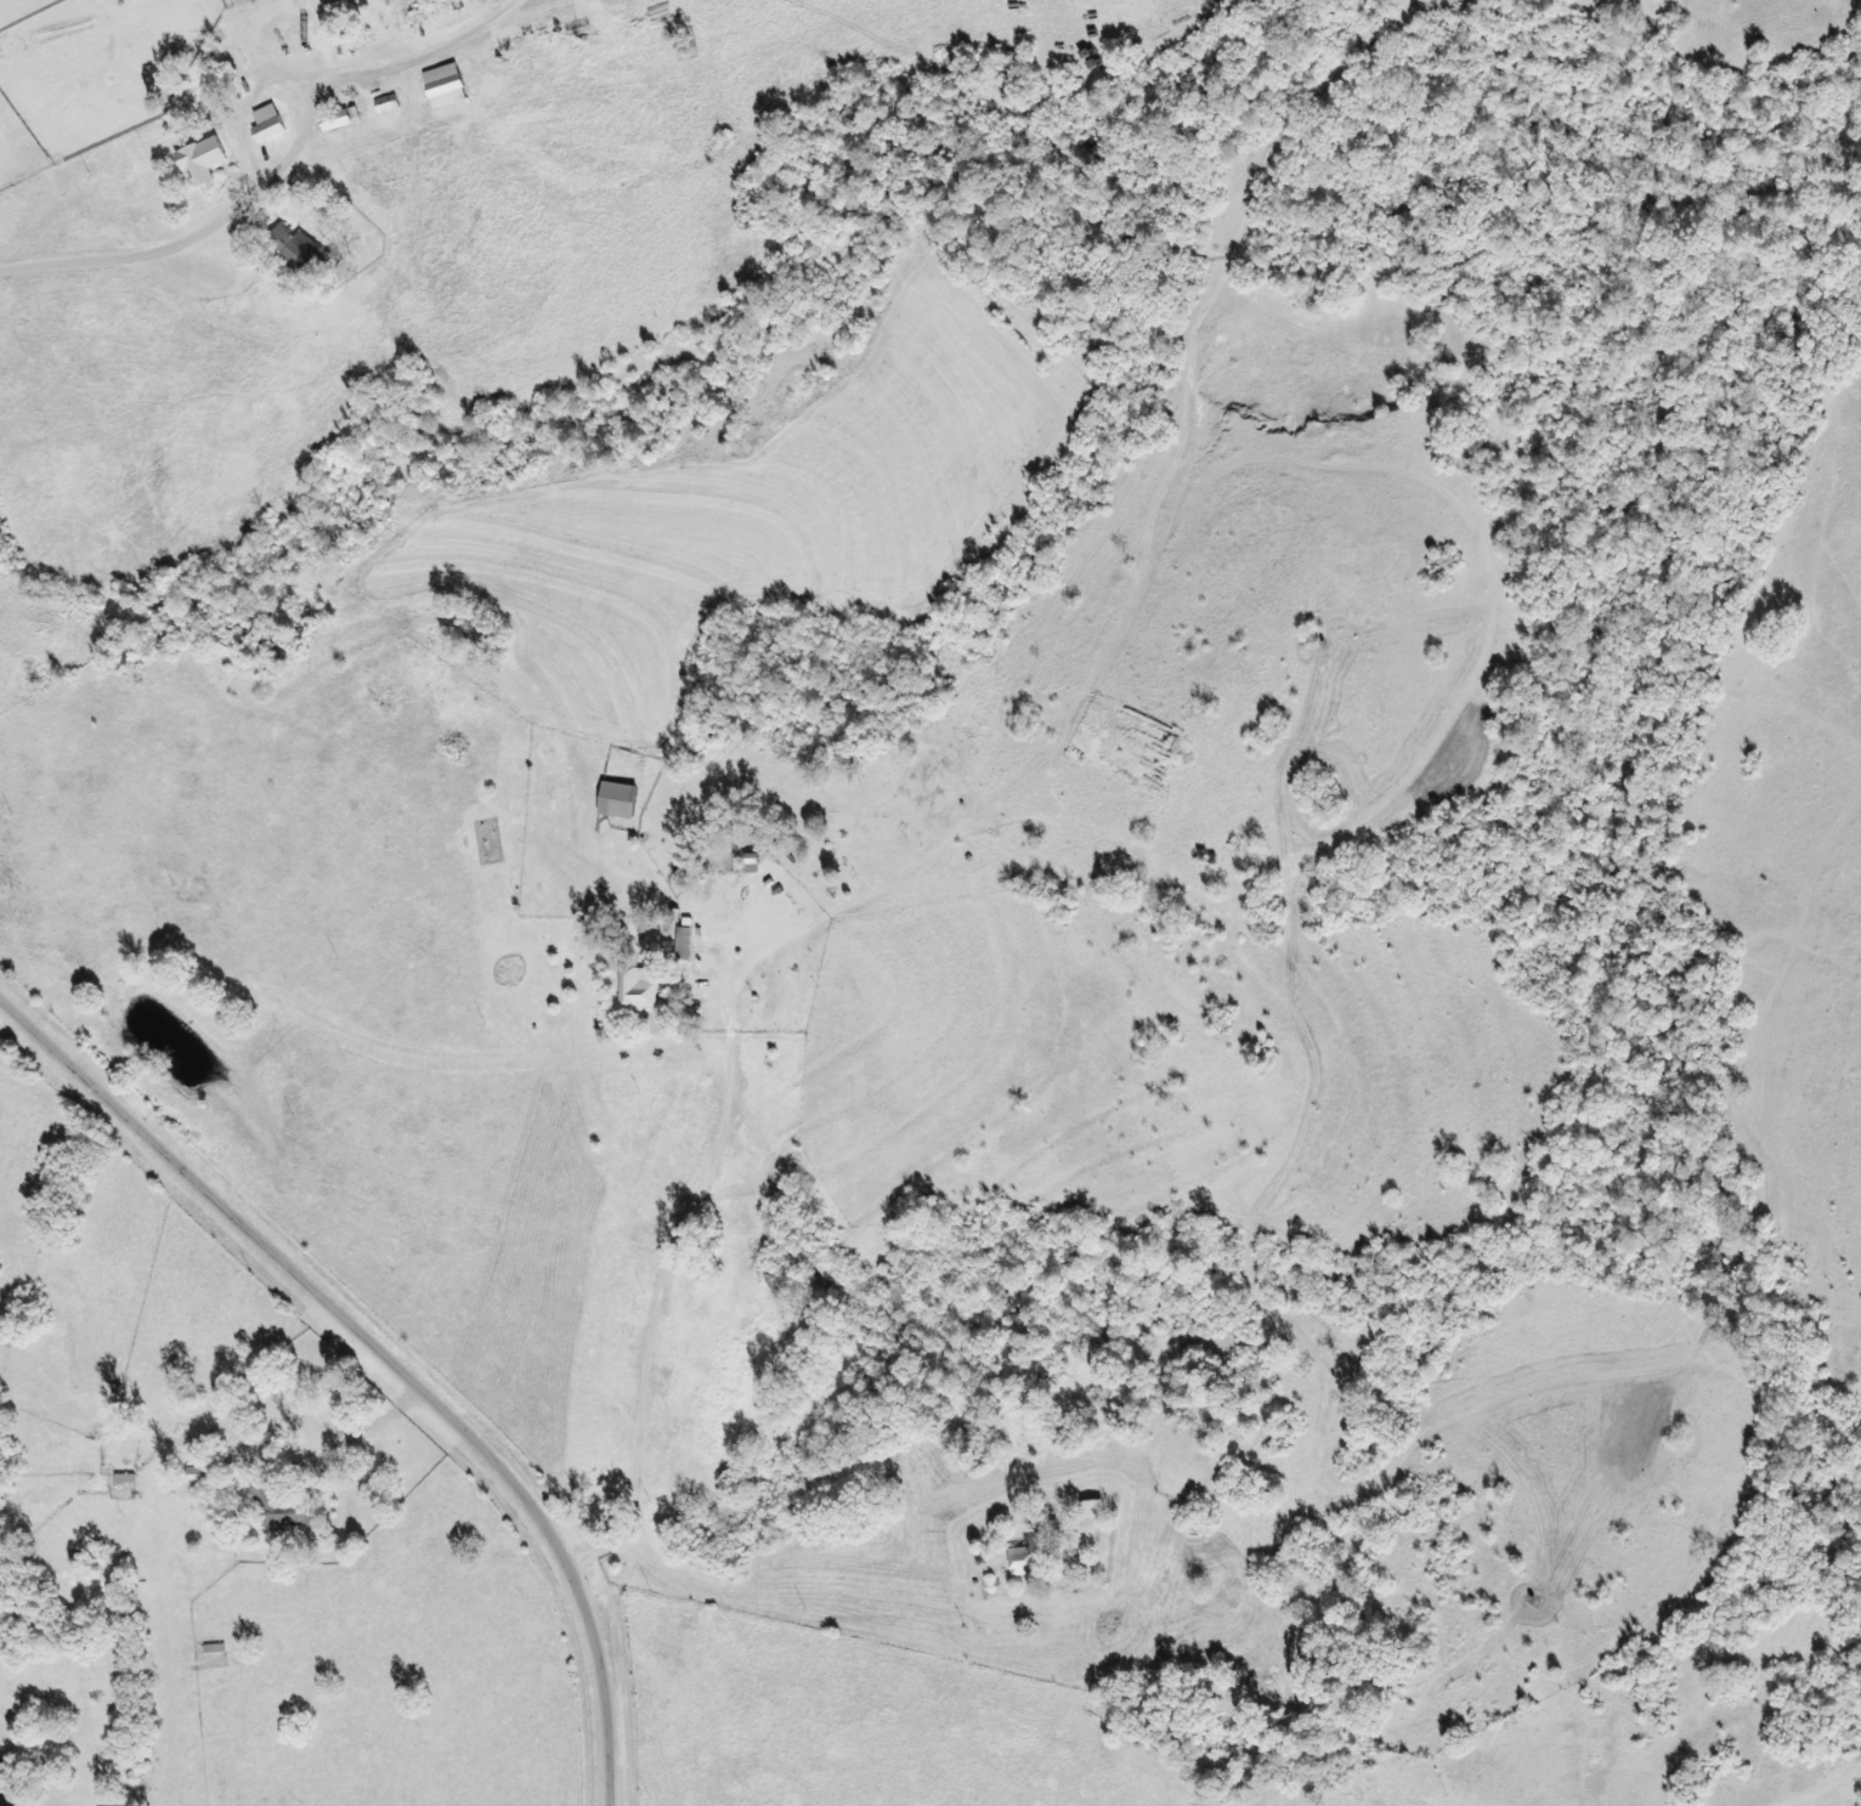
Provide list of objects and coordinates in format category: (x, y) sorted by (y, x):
building: (432, 87)
building: (375, 104)
building: (323, 121)
building: (255, 126)
building: (190, 162)
road: (282, 165)
building: (285, 248)
building: (604, 802)
park: (492, 850)
building: (671, 945)
road: (757, 953)
building: (626, 991)
road: (386, 1355)
road: (1447, 1433)
building: (188, 1481)
building: (268, 1510)
building: (1184, 1553)
building: (1012, 1561)

